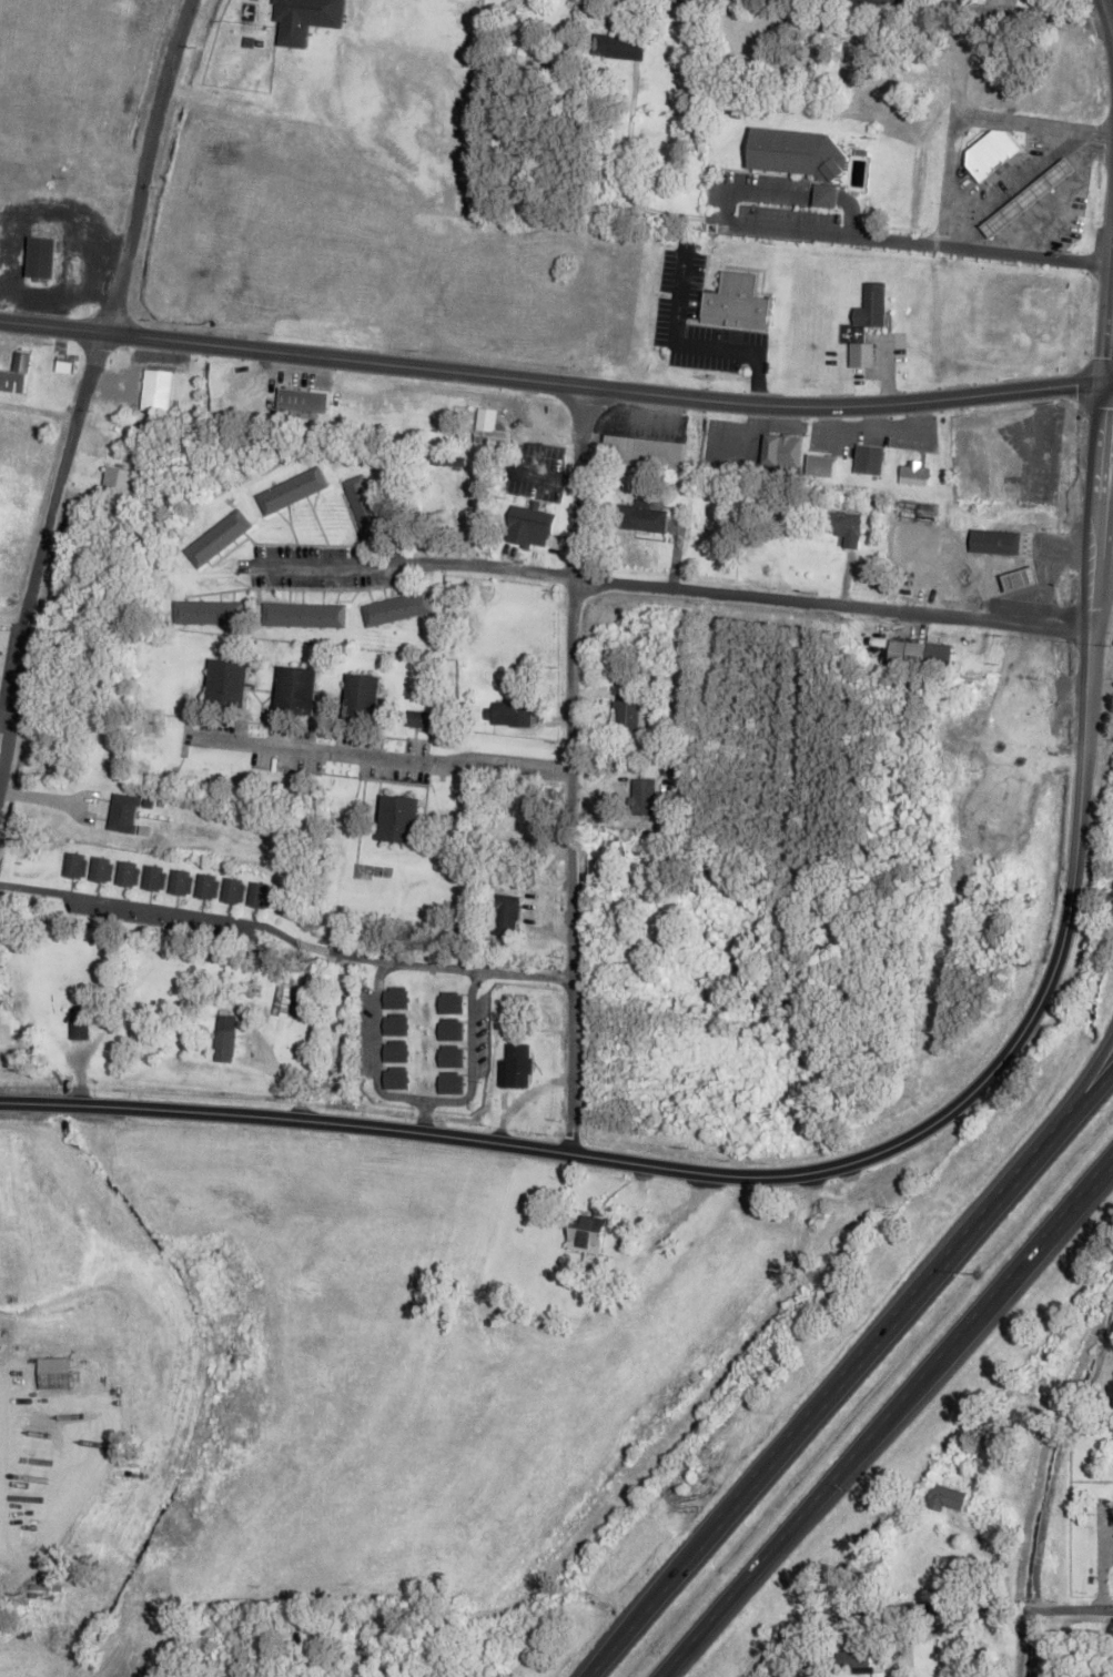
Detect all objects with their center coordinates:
road: (1026, 8)
road: (1109, 10)
road: (1112, 17)
building: (305, 19)
building: (614, 44)
road: (980, 115)
building: (798, 154)
building: (994, 155)
road: (144, 165)
road: (951, 180)
road: (752, 189)
building: (826, 195)
building: (1028, 198)
gas station: (1028, 198)
parking lot: (769, 200)
road: (844, 200)
road: (776, 226)
road: (975, 250)
building: (39, 254)
building: (737, 302)
building: (870, 309)
road: (1109, 322)
building: (64, 361)
building: (16, 370)
road: (1109, 381)
road: (550, 383)
road: (1109, 383)
building: (156, 388)
building: (302, 396)
building: (488, 425)
building: (645, 448)
building: (781, 448)
road: (1100, 448)
building: (869, 457)
building: (449, 458)
building: (818, 462)
building: (911, 471)
building: (122, 476)
building: (291, 488)
road: (1104, 495)
building: (364, 505)
building: (642, 514)
building: (530, 521)
building: (842, 524)
building: (219, 536)
road: (1095, 541)
building: (998, 542)
road: (40, 554)
road: (318, 564)
parking lot: (321, 564)
building: (1021, 578)
road: (739, 593)
road: (1094, 597)
building: (396, 605)
building: (210, 610)
building: (305, 612)
building: (918, 650)
building: (225, 680)
building: (294, 687)
building: (361, 694)
building: (1022, 696)
building: (627, 706)
building: (512, 707)
building: (418, 716)
road: (381, 755)
road: (570, 769)
building: (644, 792)
building: (399, 816)
building: (520, 821)
building: (74, 862)
building: (102, 867)
building: (127, 871)
building: (153, 875)
building: (181, 879)
building: (206, 882)
road: (29, 887)
building: (233, 887)
building: (260, 892)
road: (158, 908)
building: (507, 912)
parking lot: (159, 918)
road: (412, 963)
building: (395, 997)
building: (284, 1000)
building: (451, 1001)
building: (396, 1023)
building: (80, 1026)
building: (451, 1029)
parking lot: (367, 1031)
parking lot: (479, 1037)
building: (227, 1039)
road: (377, 1049)
building: (396, 1050)
building: (451, 1055)
road: (472, 1055)
building: (515, 1064)
building: (396, 1077)
road: (1082, 1080)
building: (451, 1081)
road: (65, 1103)
road: (425, 1114)
road: (806, 1171)
building: (587, 1234)
street lamp: (974, 1272)
road: (850, 1374)
road: (884, 1416)
road: (662, 1444)
street lamp: (854, 1488)
building: (942, 1494)
building: (871, 1558)
road: (971, 1606)
building: (301, 1634)
road: (816, 1644)
building: (364, 1656)
building: (851, 1658)

